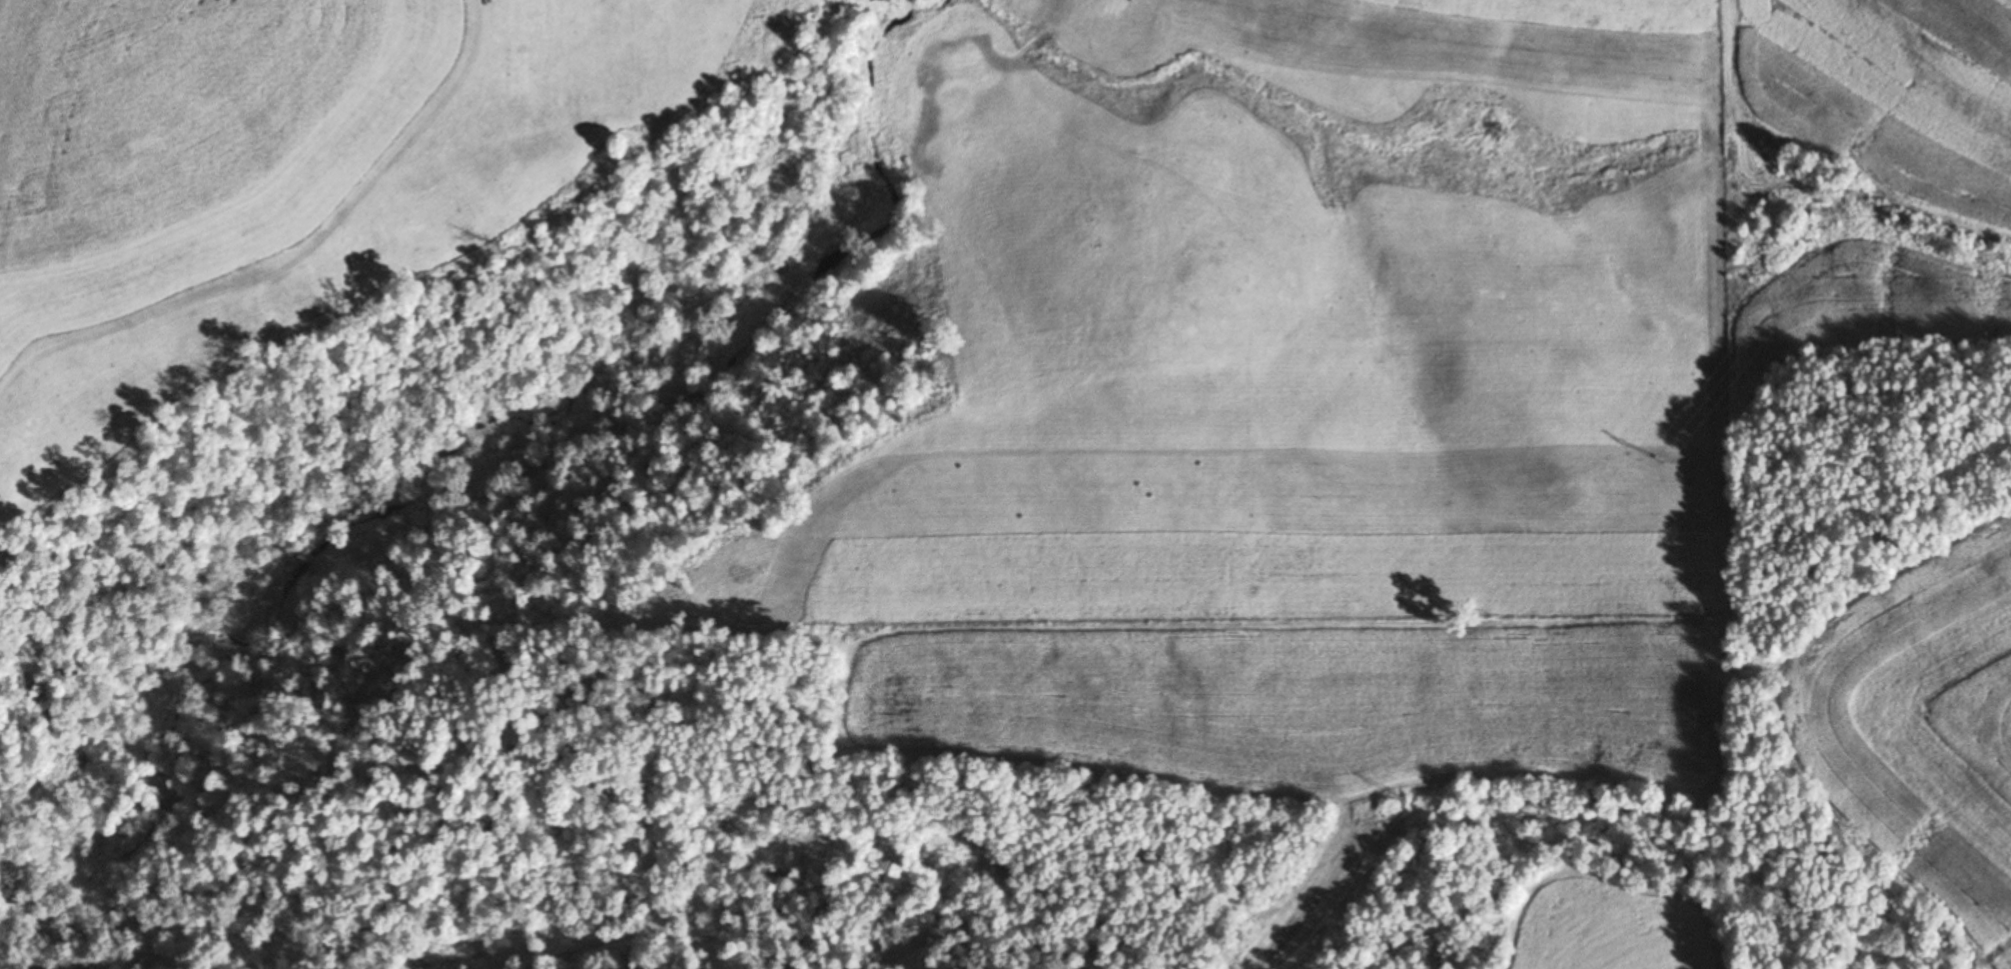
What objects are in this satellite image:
crop: (1124, 21)
crop: (1520, 45)
crop: (598, 60)
power tower: (1972, 60)
crop: (1887, 88)
crop: (209, 191)
crop: (1894, 304)
power tower: (1656, 459)
crop: (1047, 540)
crop: (1929, 619)
crop: (1295, 702)
crop: (1918, 783)
power tower: (1397, 793)
crop: (1609, 927)

